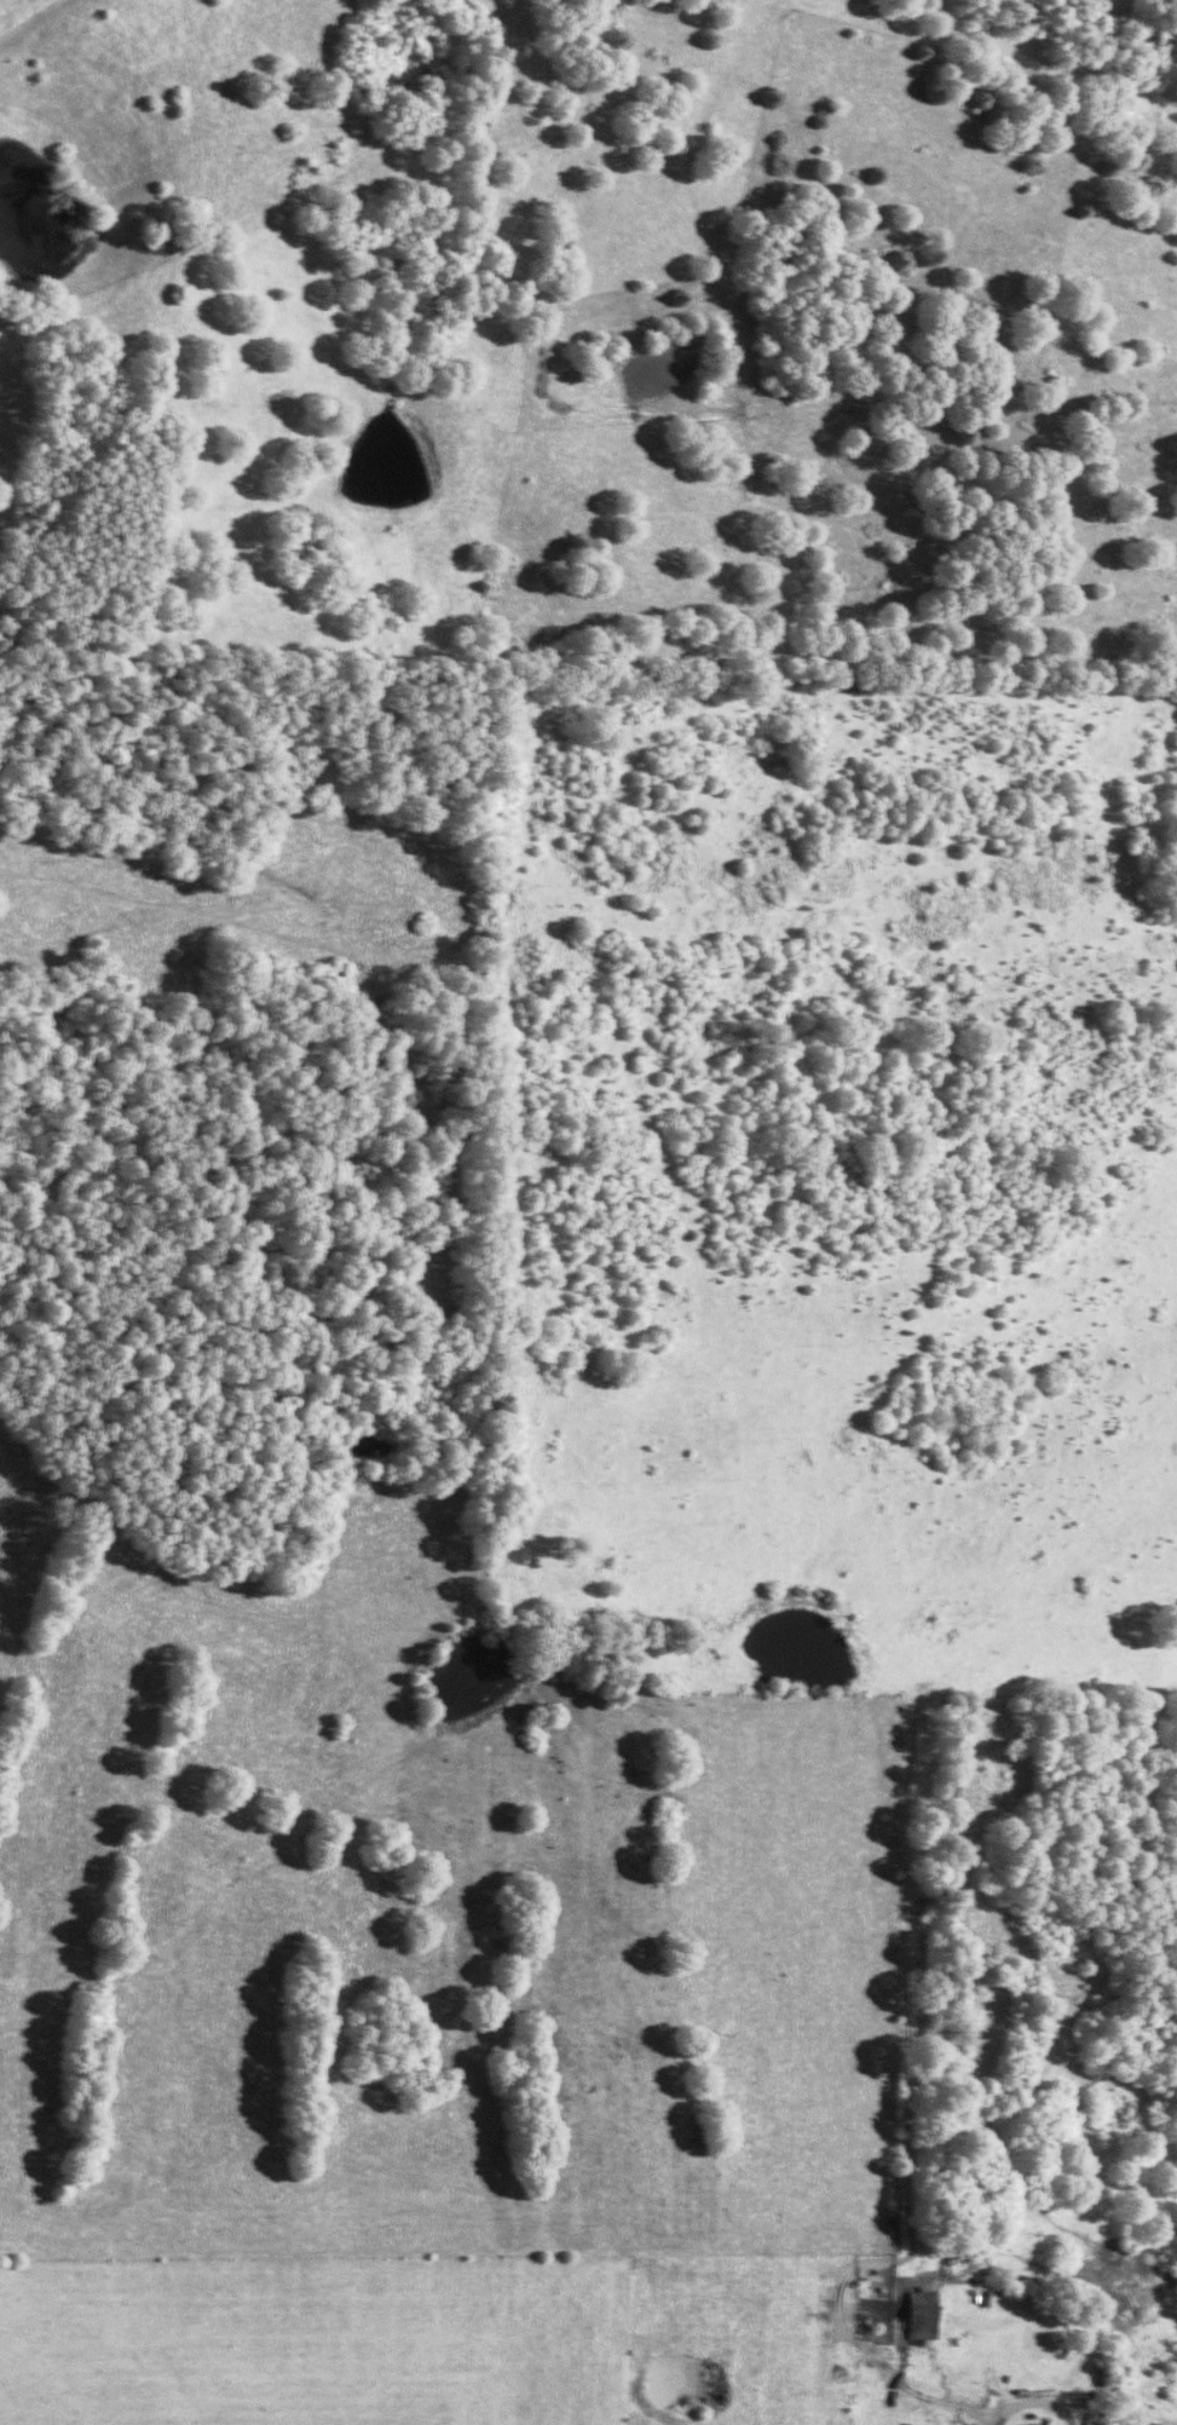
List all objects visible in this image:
building: (918, 2321)

